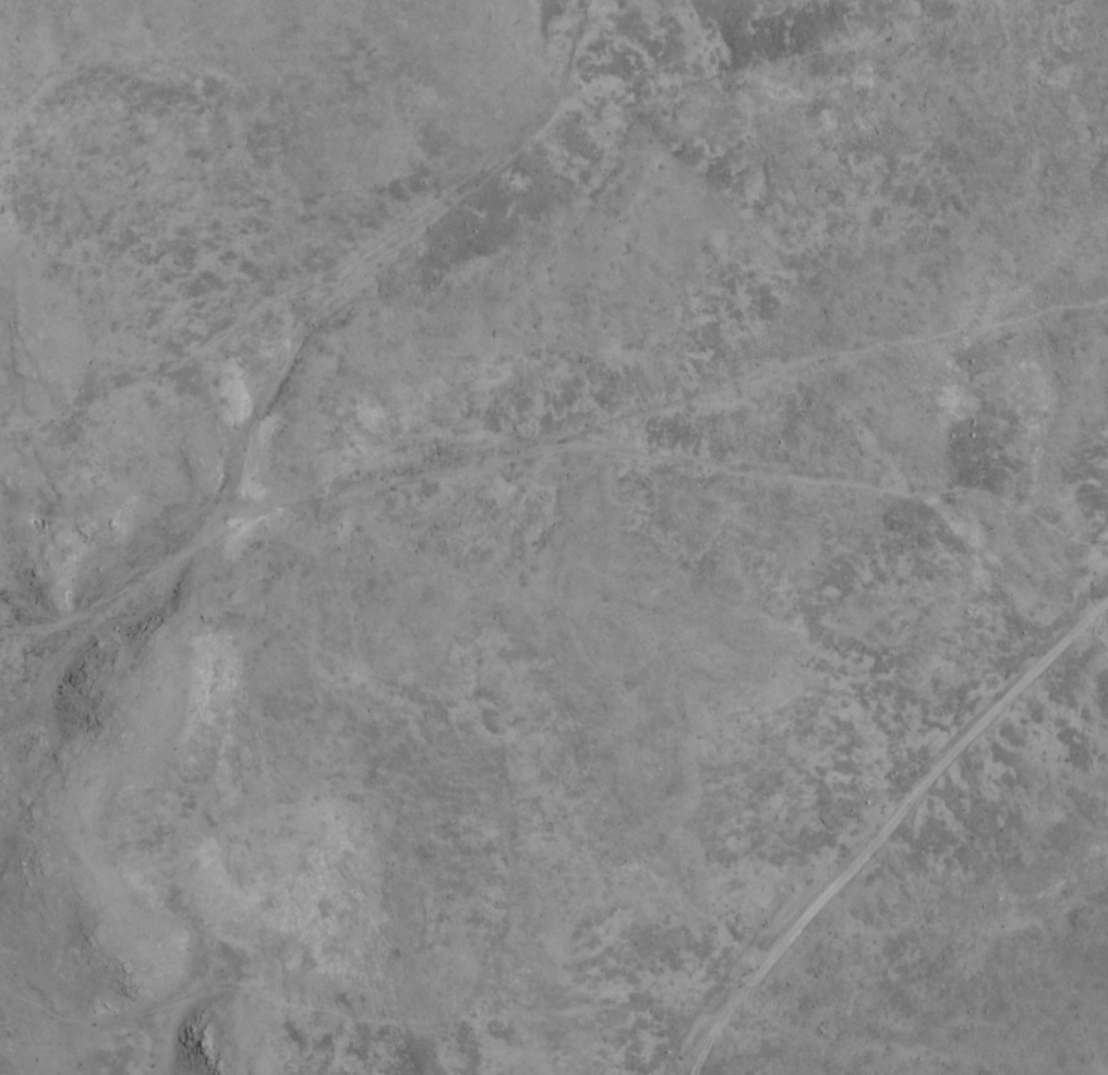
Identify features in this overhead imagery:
road: (889, 828)

